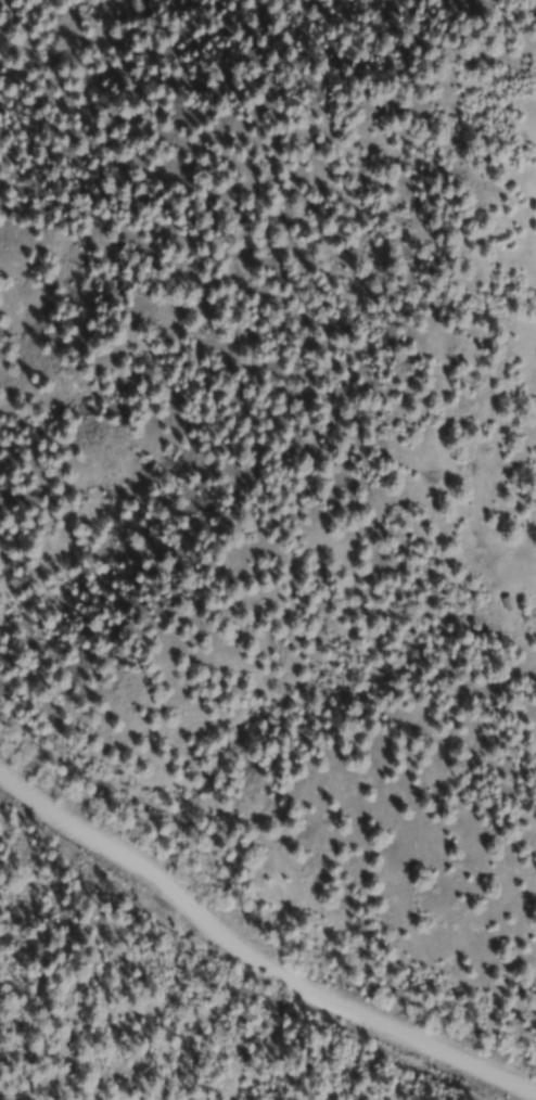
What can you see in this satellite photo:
building: (510, 607)
road: (247, 964)

